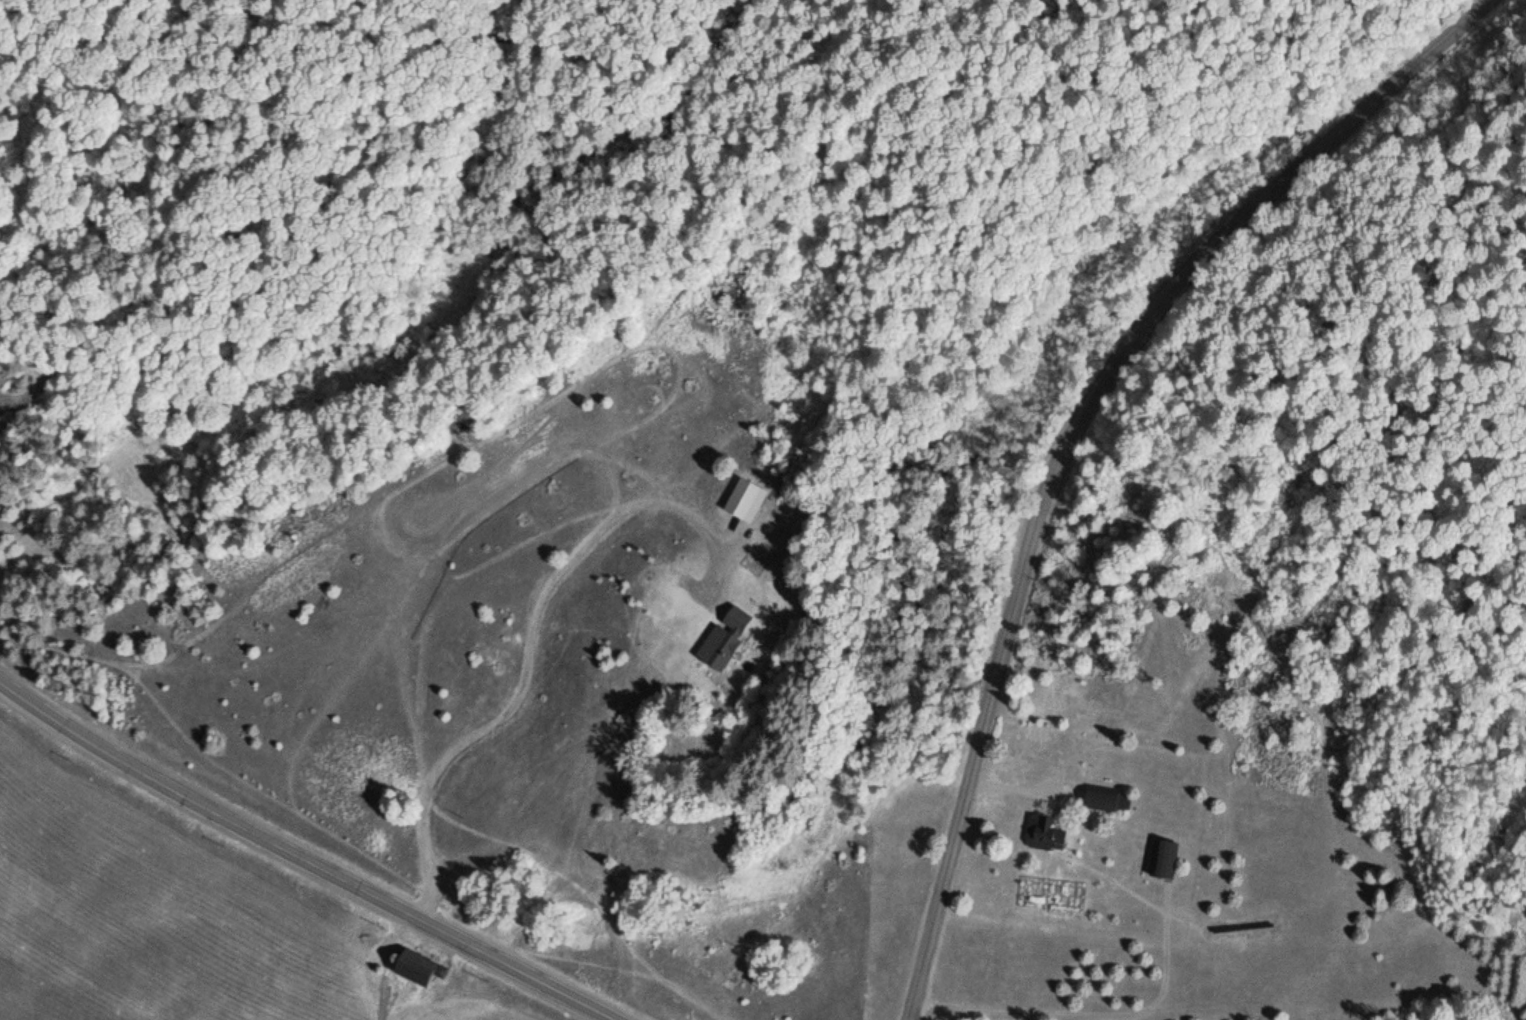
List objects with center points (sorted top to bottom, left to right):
road: (1070, 438)
building: (720, 637)
building: (1103, 798)
building: (1041, 833)
road: (303, 858)
building: (1159, 859)
building: (401, 968)

